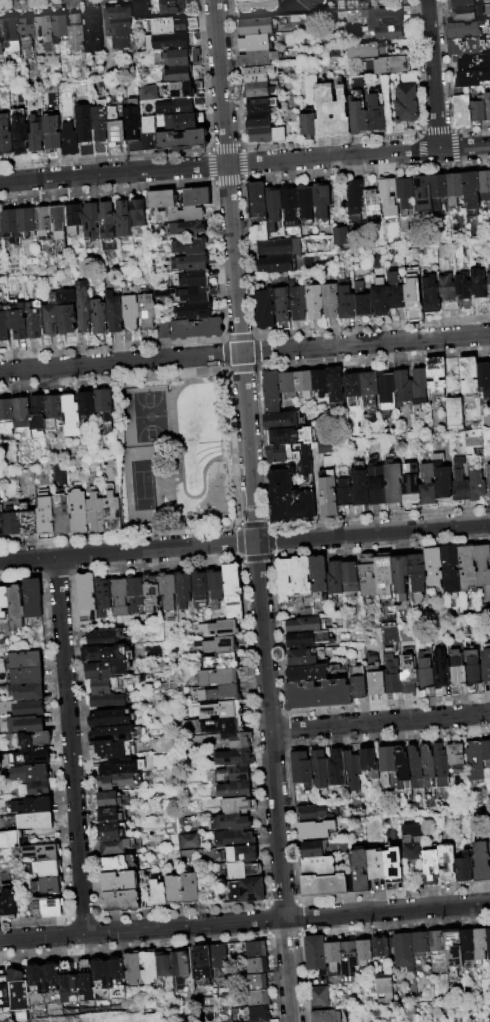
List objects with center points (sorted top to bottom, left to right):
building: (462, 3)
building: (256, 5)
building: (173, 7)
building: (141, 9)
building: (466, 13)
building: (382, 16)
building: (119, 24)
building: (173, 24)
building: (255, 26)
building: (60, 27)
building: (45, 29)
building: (466, 29)
building: (93, 31)
building: (386, 31)
building: (77, 32)
building: (28, 34)
building: (12, 36)
building: (1, 39)
building: (176, 40)
building: (253, 42)
building: (466, 46)
building: (367, 49)
building: (182, 56)
building: (257, 58)
building: (472, 61)
building: (390, 64)
building: (180, 73)
building: (256, 73)
road: (434, 75)
building: (472, 79)
building: (257, 89)
building: (147, 91)
building: (258, 104)
building: (406, 104)
building: (179, 105)
building: (487, 105)
building: (462, 110)
building: (478, 110)
building: (330, 112)
building: (375, 112)
building: (356, 113)
building: (259, 119)
building: (184, 121)
building: (307, 124)
building: (100, 126)
building: (139, 126)
building: (85, 127)
building: (116, 127)
building: (20, 131)
building: (52, 132)
building: (36, 134)
building: (264, 134)
building: (5, 137)
building: (69, 139)
building: (183, 139)
road: (464, 147)
road: (220, 166)
building: (484, 186)
building: (453, 188)
building: (437, 190)
building: (470, 190)
building: (422, 192)
building: (405, 193)
building: (355, 194)
building: (388, 196)
building: (198, 197)
building: (163, 199)
building: (178, 199)
building: (256, 200)
building: (305, 201)
building: (322, 201)
building: (372, 203)
building: (289, 206)
building: (273, 208)
building: (140, 213)
building: (187, 214)
building: (75, 217)
building: (125, 219)
building: (92, 220)
building: (27, 221)
building: (44, 221)
building: (59, 221)
building: (108, 221)
building: (1, 222)
building: (11, 225)
building: (189, 229)
building: (259, 233)
building: (339, 236)
building: (191, 246)
building: (279, 247)
building: (193, 262)
building: (275, 264)
road: (235, 270)
building: (194, 279)
building: (478, 283)
building: (488, 285)
building: (446, 287)
building: (395, 293)
building: (464, 293)
building: (188, 294)
building: (430, 294)
building: (412, 296)
building: (330, 301)
building: (379, 301)
building: (298, 303)
building: (314, 303)
building: (346, 304)
building: (363, 306)
building: (282, 307)
building: (83, 310)
building: (264, 310)
building: (196, 311)
building: (67, 312)
building: (115, 314)
building: (147, 314)
building: (131, 315)
building: (52, 316)
building: (35, 319)
building: (100, 319)
building: (19, 321)
building: (5, 325)
building: (197, 329)
building: (163, 330)
road: (244, 353)
building: (435, 374)
building: (469, 375)
building: (484, 378)
building: (319, 381)
building: (287, 383)
building: (303, 383)
building: (335, 385)
building: (368, 385)
building: (419, 385)
building: (402, 386)
building: (271, 388)
building: (352, 388)
building: (387, 389)
building: (104, 404)
building: (86, 408)
building: (52, 409)
building: (37, 412)
building: (20, 413)
building: (71, 414)
building: (454, 414)
building: (6, 415)
park: (153, 416)
building: (282, 420)
building: (289, 436)
building: (468, 442)
park: (176, 453)
building: (281, 453)
building: (459, 481)
building: (488, 481)
building: (393, 483)
building: (443, 483)
building: (410, 484)
park: (144, 486)
building: (377, 486)
building: (427, 487)
building: (477, 488)
building: (360, 489)
building: (281, 495)
building: (344, 495)
building: (327, 497)
building: (303, 505)
building: (111, 509)
building: (77, 511)
building: (94, 511)
building: (61, 513)
building: (11, 517)
building: (44, 517)
building: (27, 520)
building: (1, 521)
road: (372, 532)
road: (127, 551)
building: (449, 562)
building: (482, 566)
building: (433, 567)
building: (466, 568)
building: (384, 571)
building: (349, 572)
building: (318, 574)
building: (416, 575)
building: (367, 577)
building: (400, 577)
building: (292, 578)
building: (334, 578)
building: (215, 587)
building: (199, 588)
building: (184, 589)
building: (233, 591)
building: (150, 592)
building: (135, 594)
building: (167, 594)
building: (86, 596)
building: (119, 596)
building: (102, 597)
building: (34, 598)
building: (4, 602)
building: (18, 609)
building: (306, 613)
building: (467, 616)
building: (303, 626)
building: (220, 628)
building: (105, 637)
building: (300, 640)
building: (217, 645)
building: (107, 653)
building: (299, 658)
building: (27, 660)
building: (221, 661)
building: (486, 665)
building: (107, 669)
building: (456, 670)
building: (472, 670)
building: (440, 672)
building: (307, 673)
building: (425, 673)
building: (392, 675)
building: (28, 676)
building: (375, 676)
building: (217, 677)
building: (409, 677)
building: (358, 683)
building: (107, 685)
building: (28, 692)
building: (222, 693)
building: (317, 694)
building: (108, 700)
building: (24, 709)
building: (225, 710)
building: (111, 718)
road: (380, 724)
building: (27, 726)
building: (226, 726)
building: (115, 734)
building: (238, 739)
building: (32, 741)
road: (74, 745)
building: (110, 750)
building: (487, 751)
building: (457, 755)
building: (234, 757)
building: (34, 759)
building: (371, 762)
building: (477, 762)
building: (389, 764)
building: (417, 766)
building: (430, 766)
building: (116, 767)
building: (404, 767)
building: (443, 767)
building: (338, 768)
building: (304, 769)
building: (354, 769)
building: (322, 770)
building: (236, 773)
building: (32, 774)
building: (118, 781)
road: (274, 781)
building: (236, 789)
building: (36, 790)
building: (113, 799)
building: (34, 806)
building: (239, 806)
building: (318, 814)
building: (111, 815)
building: (36, 821)
building: (231, 822)
building: (317, 830)
building: (113, 831)
building: (234, 838)
building: (186, 840)
building: (15, 841)
building: (119, 845)
building: (315, 850)
building: (413, 852)
building: (43, 853)
building: (246, 853)
building: (483, 862)
building: (119, 864)
building: (449, 864)
building: (378, 865)
building: (319, 866)
building: (433, 868)
building: (49, 869)
building: (242, 870)
building: (466, 870)
building: (362, 872)
building: (395, 872)
building: (120, 882)
building: (49, 885)
building: (326, 886)
building: (190, 888)
building: (174, 889)
building: (247, 890)
building: (158, 893)
building: (9, 899)
building: (122, 901)
road: (283, 902)
building: (47, 905)
road: (185, 908)
building: (0, 911)
road: (84, 916)
road: (300, 916)
road: (268, 917)
road: (34, 920)
road: (245, 922)
road: (286, 932)
building: (489, 936)
building: (439, 943)
road: (135, 944)
building: (422, 944)
building: (470, 945)
building: (482, 945)
building: (383, 948)
building: (257, 949)
building: (455, 949)
building: (405, 951)
building: (366, 953)
building: (318, 955)
building: (335, 955)
building: (350, 955)
building: (220, 957)
building: (201, 963)
building: (257, 966)
building: (180, 967)
building: (132, 968)
building: (147, 968)
building: (164, 968)
building: (116, 978)
building: (100, 979)
building: (84, 981)
building: (67, 982)
building: (53, 983)
building: (320, 983)
building: (37, 985)
building: (257, 986)
building: (382, 988)
building: (18, 992)
building: (3, 994)
building: (321, 999)
building: (260, 1009)
building: (329, 1016)

